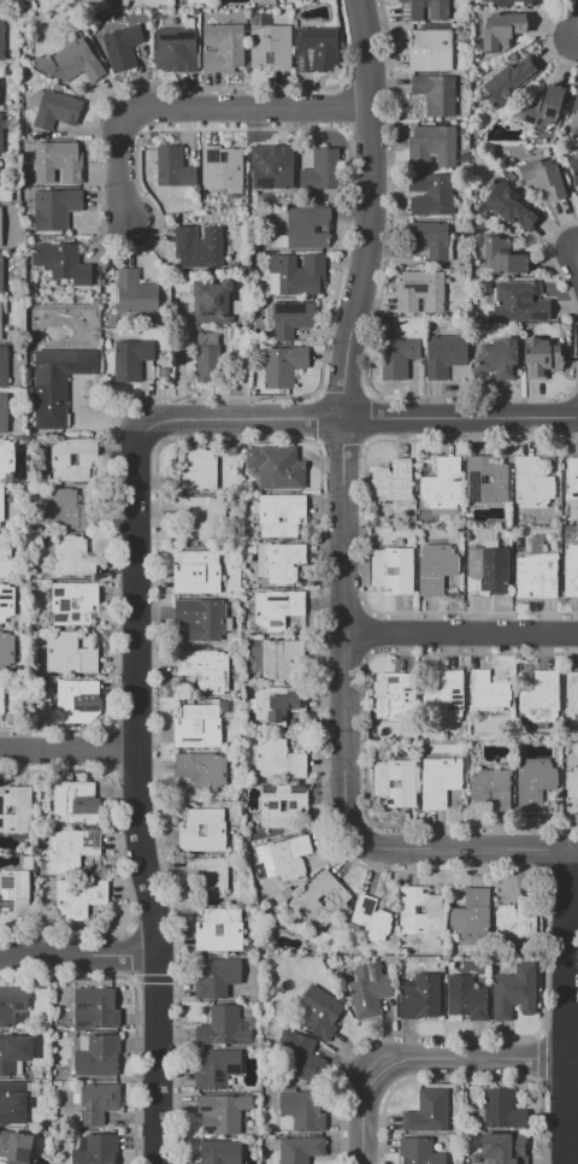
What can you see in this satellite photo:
building: (112, 1)
building: (509, 1)
building: (421, 10)
building: (500, 29)
building: (1, 40)
building: (270, 46)
building: (122, 47)
building: (176, 47)
building: (223, 47)
building: (317, 48)
building: (430, 49)
building: (76, 61)
building: (511, 81)
building: (436, 94)
building: (541, 106)
building: (54, 108)
road: (193, 110)
building: (573, 114)
building: (0, 135)
building: (431, 146)
building: (223, 154)
building: (223, 159)
building: (58, 163)
building: (173, 166)
building: (222, 167)
building: (271, 167)
building: (322, 170)
building: (574, 171)
building: (542, 178)
building: (430, 194)
building: (511, 206)
building: (54, 208)
building: (0, 227)
building: (308, 228)
building: (430, 240)
building: (197, 247)
building: (502, 257)
building: (61, 261)
building: (0, 274)
building: (295, 275)
building: (419, 292)
building: (135, 293)
building: (212, 302)
building: (518, 302)
building: (240, 307)
building: (291, 318)
building: (0, 321)
building: (237, 322)
building: (444, 354)
building: (206, 355)
building: (397, 357)
building: (539, 357)
building: (497, 358)
building: (130, 359)
road: (181, 361)
building: (283, 365)
building: (2, 368)
building: (58, 382)
building: (2, 412)
road: (362, 418)
road: (343, 421)
building: (231, 451)
building: (72, 458)
building: (6, 460)
building: (277, 466)
building: (197, 471)
building: (485, 478)
building: (571, 478)
building: (393, 481)
building: (531, 483)
building: (441, 486)
building: (1, 504)
building: (65, 508)
building: (279, 513)
building: (199, 518)
building: (4, 557)
building: (72, 557)
building: (279, 562)
building: (435, 566)
building: (489, 566)
building: (393, 570)
building: (570, 571)
building: (197, 572)
building: (536, 576)
building: (6, 601)
building: (73, 602)
building: (276, 610)
building: (199, 621)
road: (461, 631)
building: (6, 653)
building: (69, 654)
building: (279, 659)
building: (205, 669)
building: (488, 693)
building: (393, 694)
building: (1, 698)
building: (572, 698)
building: (444, 699)
building: (541, 700)
building: (77, 701)
building: (278, 705)
building: (197, 725)
road: (70, 751)
building: (278, 760)
building: (200, 770)
building: (438, 781)
building: (533, 782)
building: (381, 783)
building: (572, 783)
building: (491, 788)
road: (142, 795)
building: (76, 803)
building: (270, 806)
building: (16, 810)
building: (201, 829)
building: (70, 850)
road: (466, 851)
building: (288, 857)
building: (208, 875)
building: (14, 894)
building: (78, 898)
building: (317, 901)
building: (433, 910)
building: (470, 915)
building: (518, 918)
building: (368, 921)
building: (205, 930)
road: (79, 960)
building: (217, 977)
building: (368, 990)
building: (513, 993)
building: (419, 997)
building: (466, 998)
building: (11, 1004)
road: (570, 1006)
building: (95, 1007)
building: (319, 1012)
building: (224, 1027)
building: (13, 1053)
building: (96, 1054)
building: (296, 1057)
road: (430, 1059)
building: (216, 1068)
building: (13, 1103)
building: (98, 1103)
building: (427, 1111)
building: (501, 1111)
building: (301, 1112)
building: (222, 1113)
building: (16, 1147)
building: (94, 1148)
building: (295, 1148)
building: (502, 1148)
building: (219, 1152)
building: (418, 1152)

